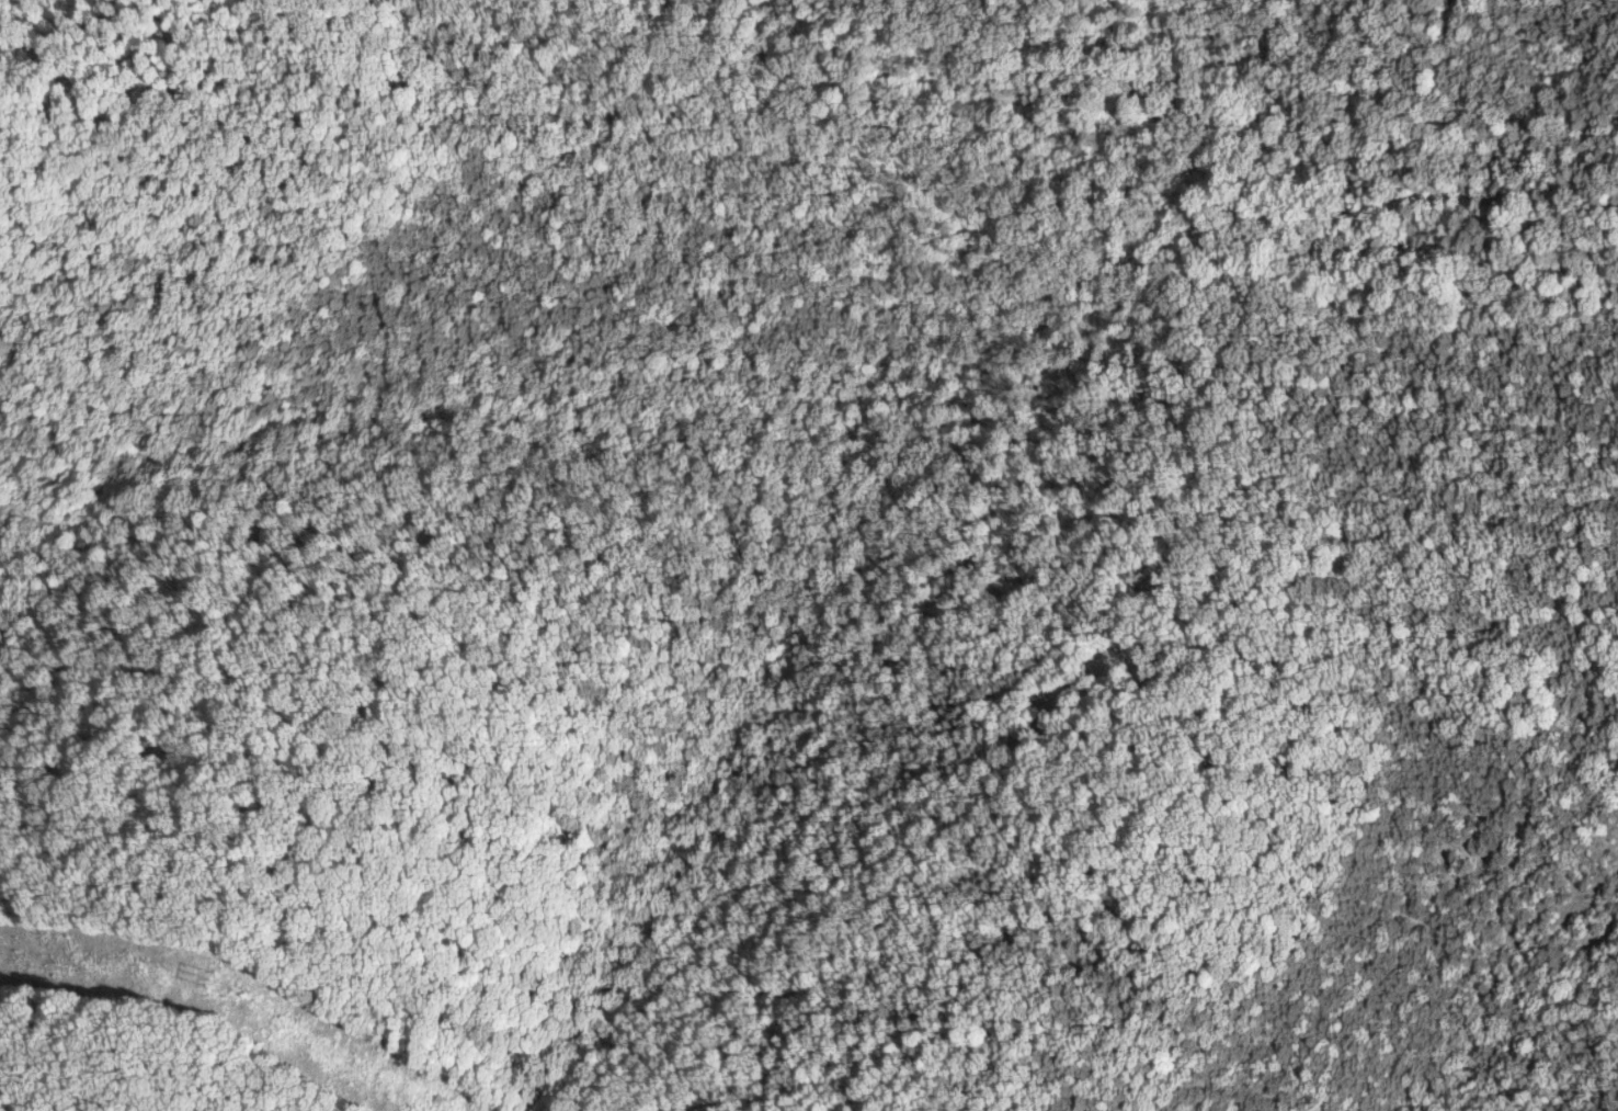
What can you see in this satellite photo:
power tower: (213, 979)

